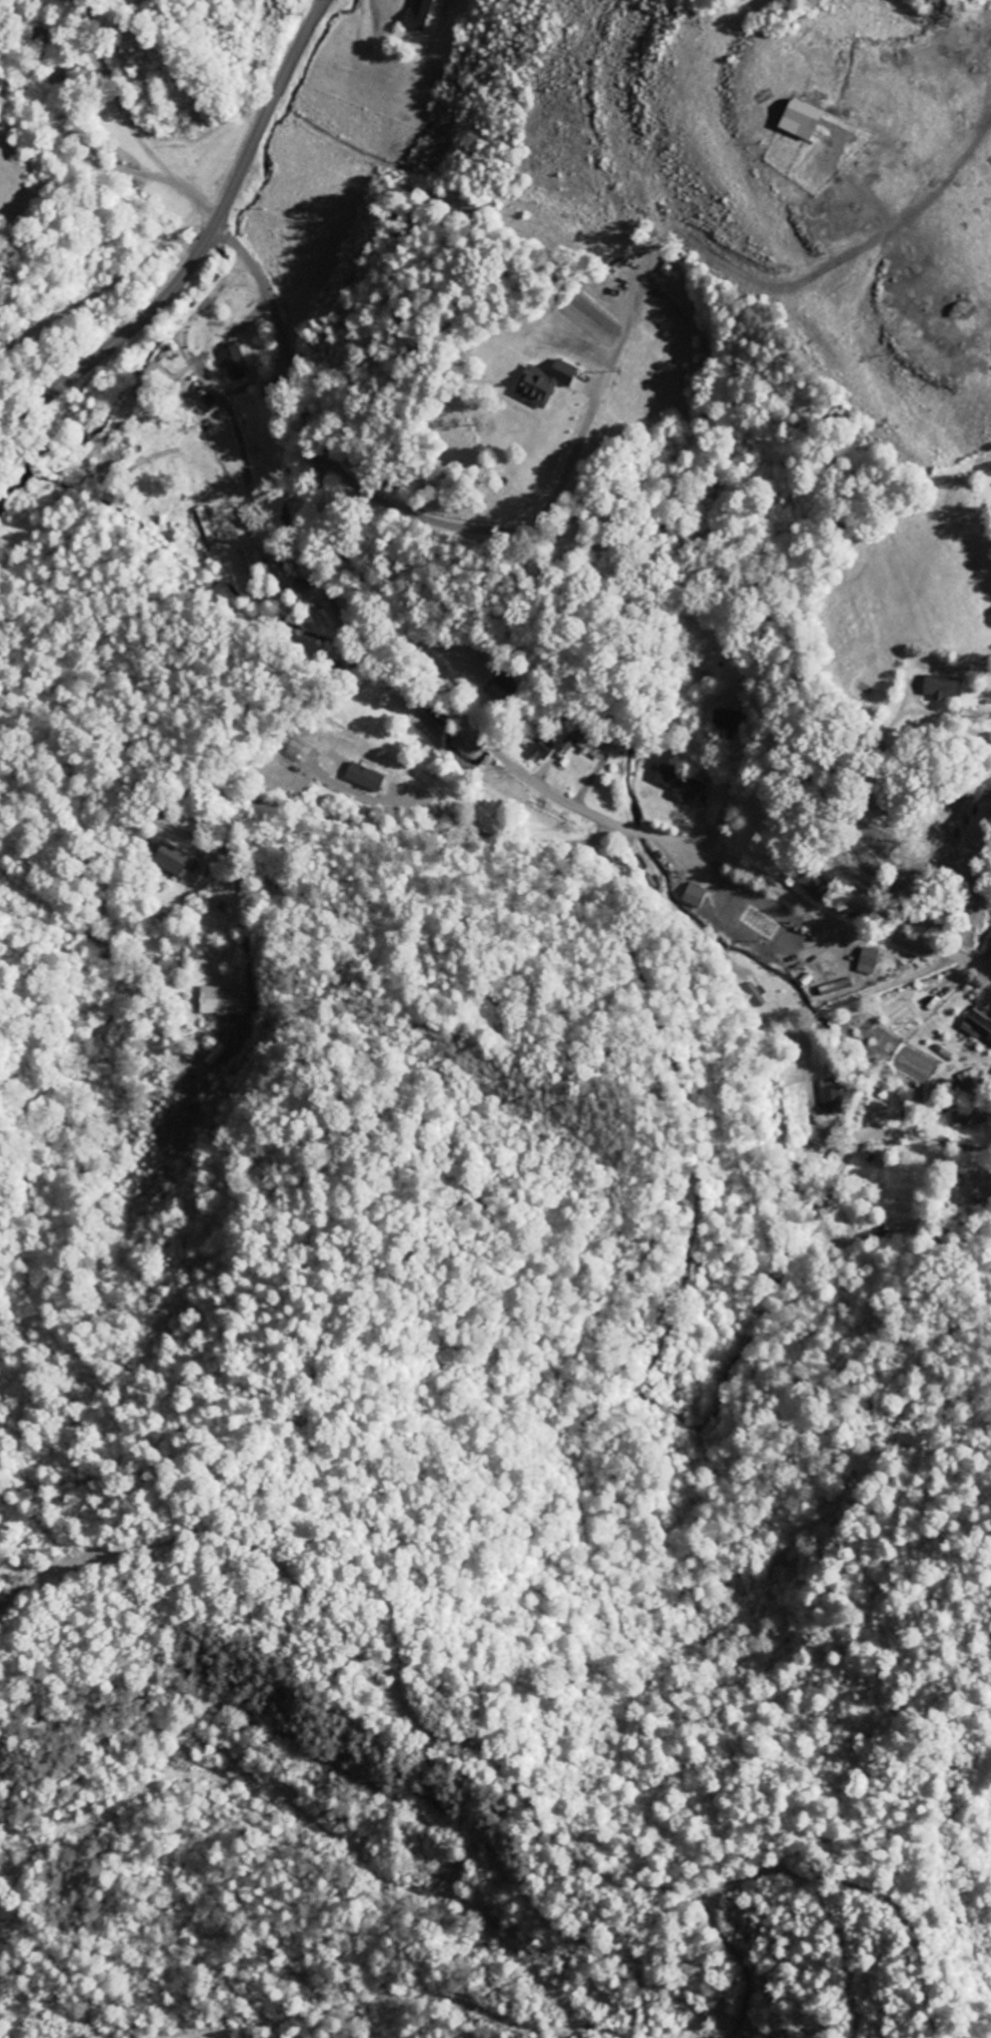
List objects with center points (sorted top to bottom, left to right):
building: (419, 15)
road: (129, 121)
building: (804, 121)
road: (203, 240)
building: (234, 363)
building: (150, 382)
building: (544, 383)
building: (242, 558)
building: (943, 688)
road: (474, 730)
building: (567, 744)
building: (541, 748)
building: (591, 749)
building: (364, 778)
building: (676, 785)
road: (258, 805)
building: (172, 860)
building: (811, 885)
building: (695, 897)
building: (738, 913)
building: (868, 962)
building: (837, 988)
building: (220, 1004)
building: (978, 1025)
road: (697, 1079)
building: (967, 1080)
building: (831, 1098)
building: (968, 1119)

